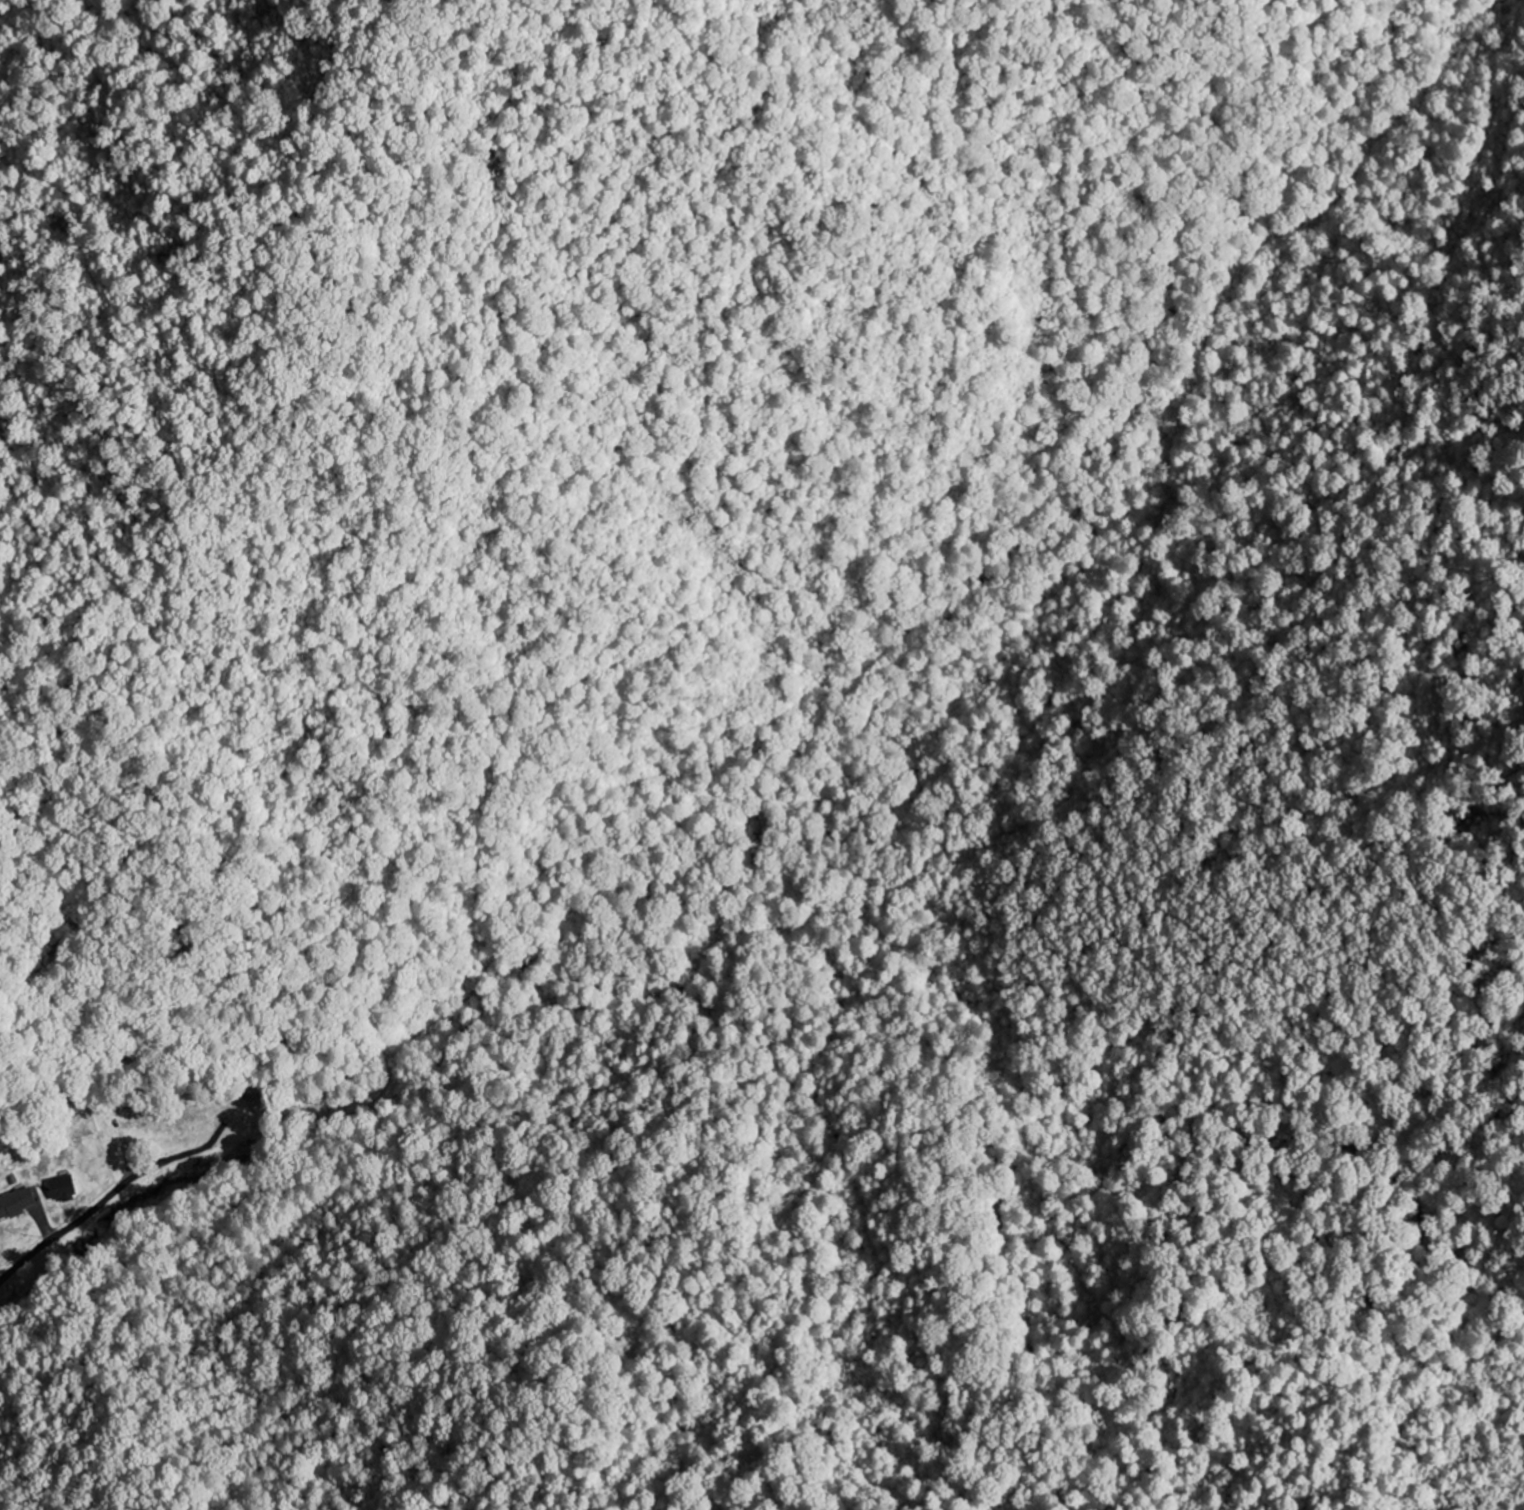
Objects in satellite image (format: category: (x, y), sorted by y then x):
building: (66, 1188)
road: (108, 1198)
building: (17, 1203)

